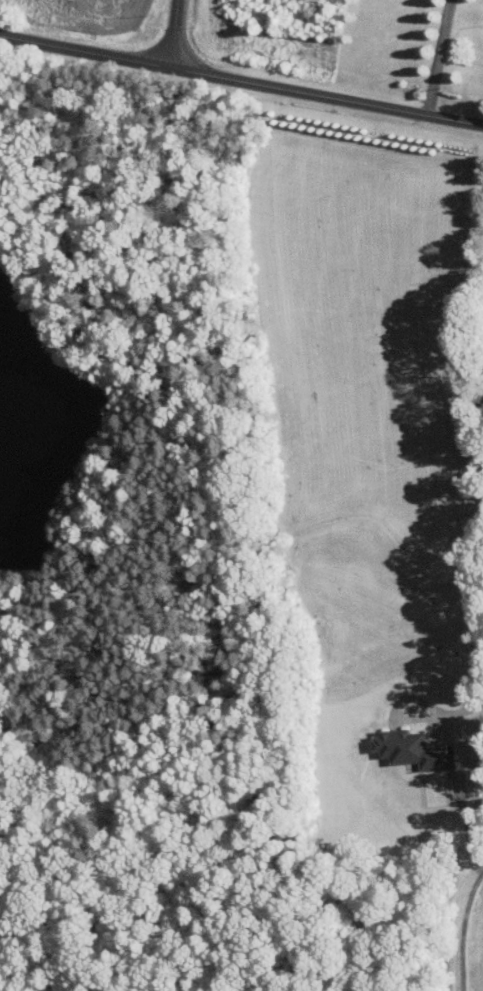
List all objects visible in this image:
road: (175, 33)
road: (439, 57)
road: (241, 82)
road: (447, 705)
building: (409, 749)

